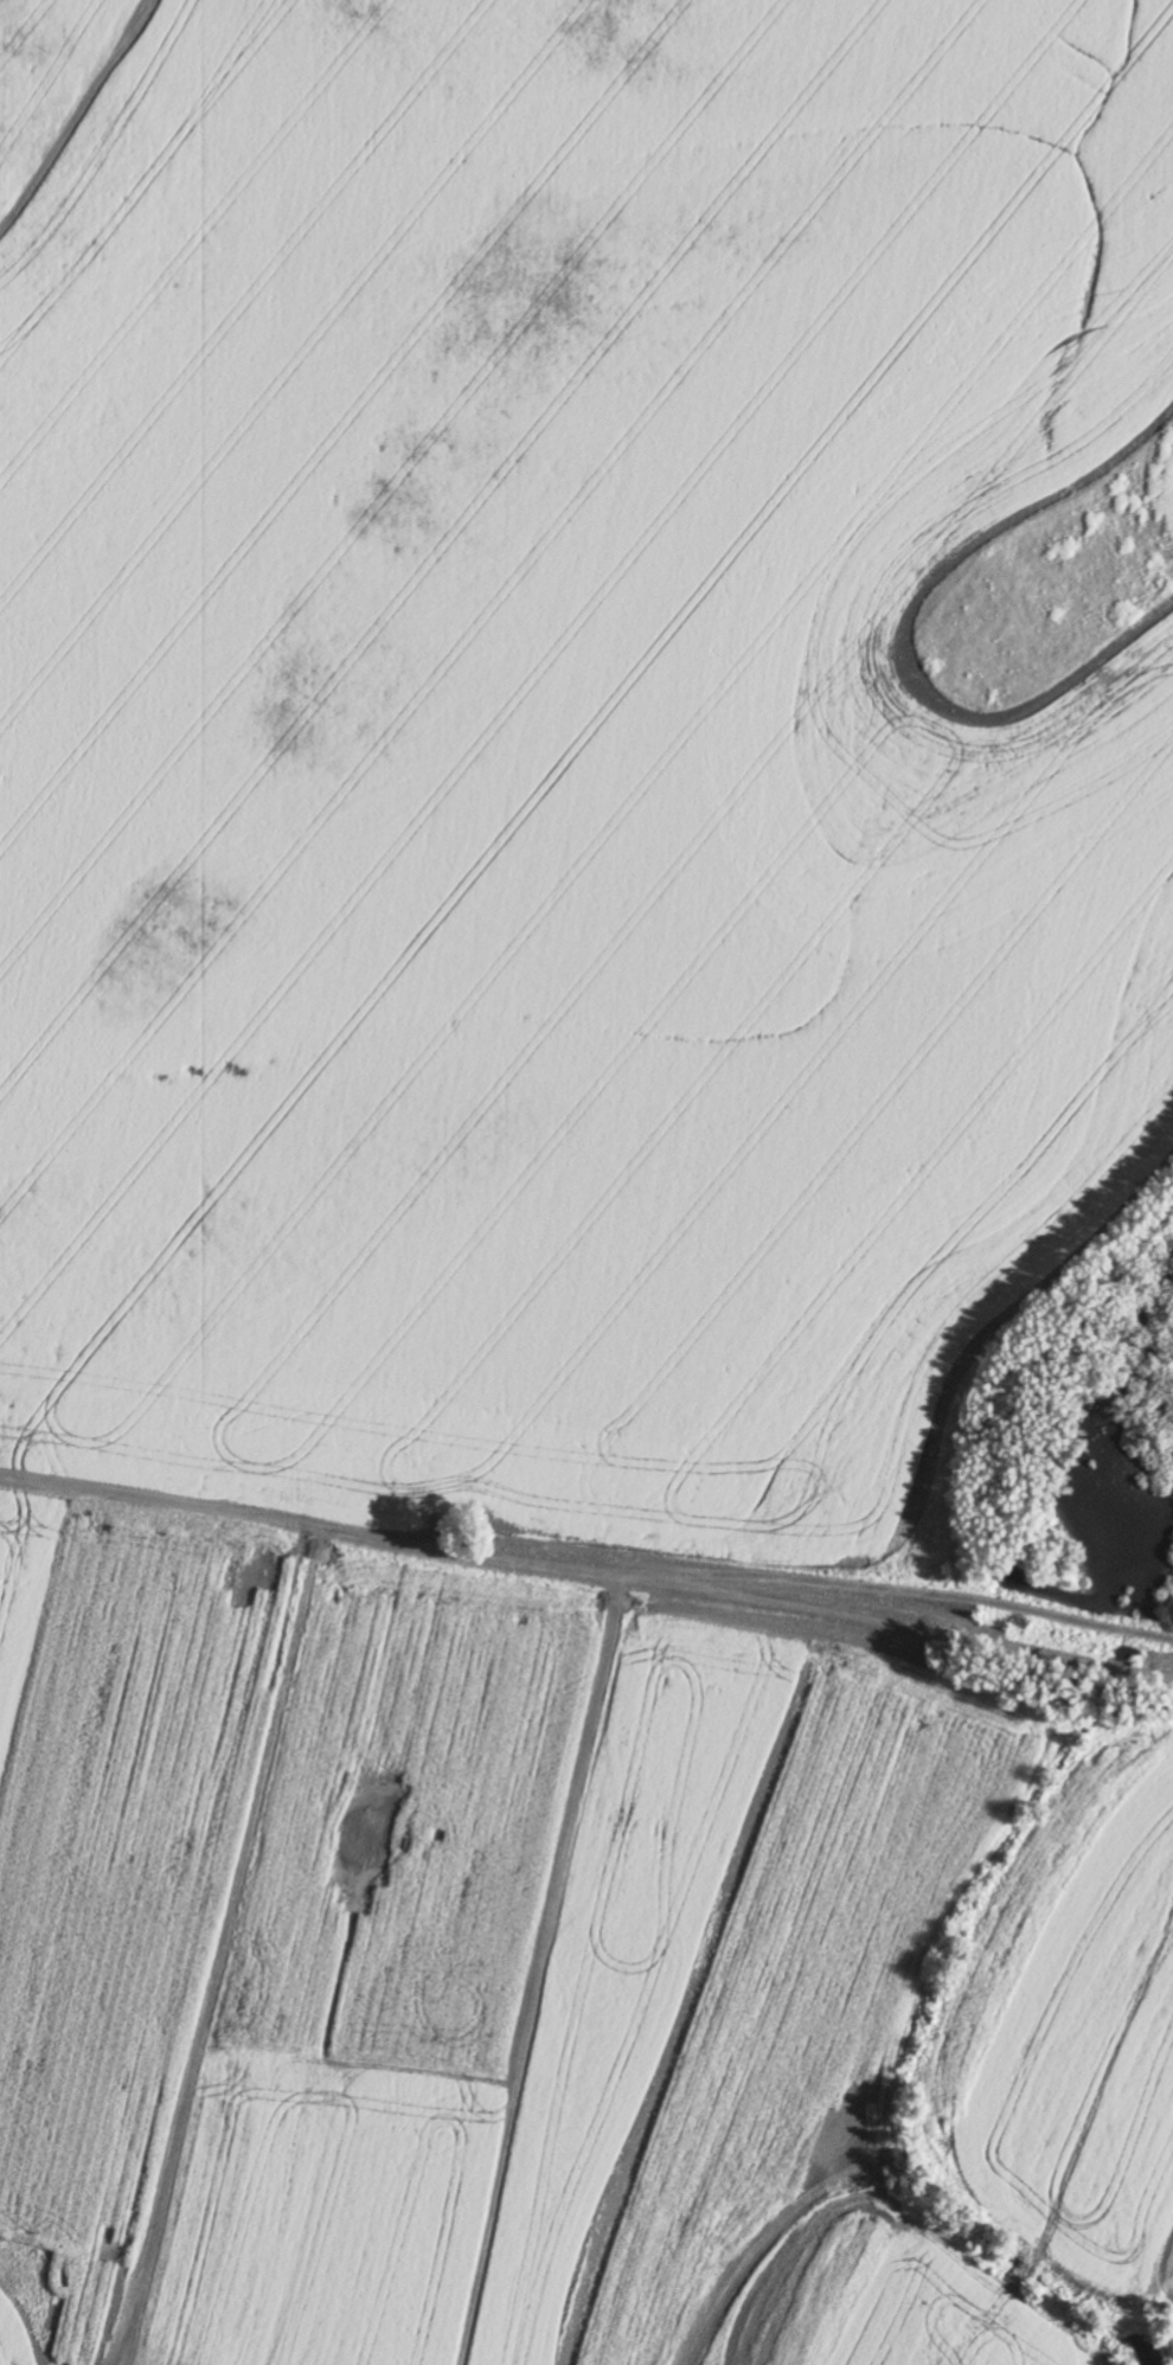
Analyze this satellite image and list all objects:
road: (1008, 66)
road: (966, 78)

